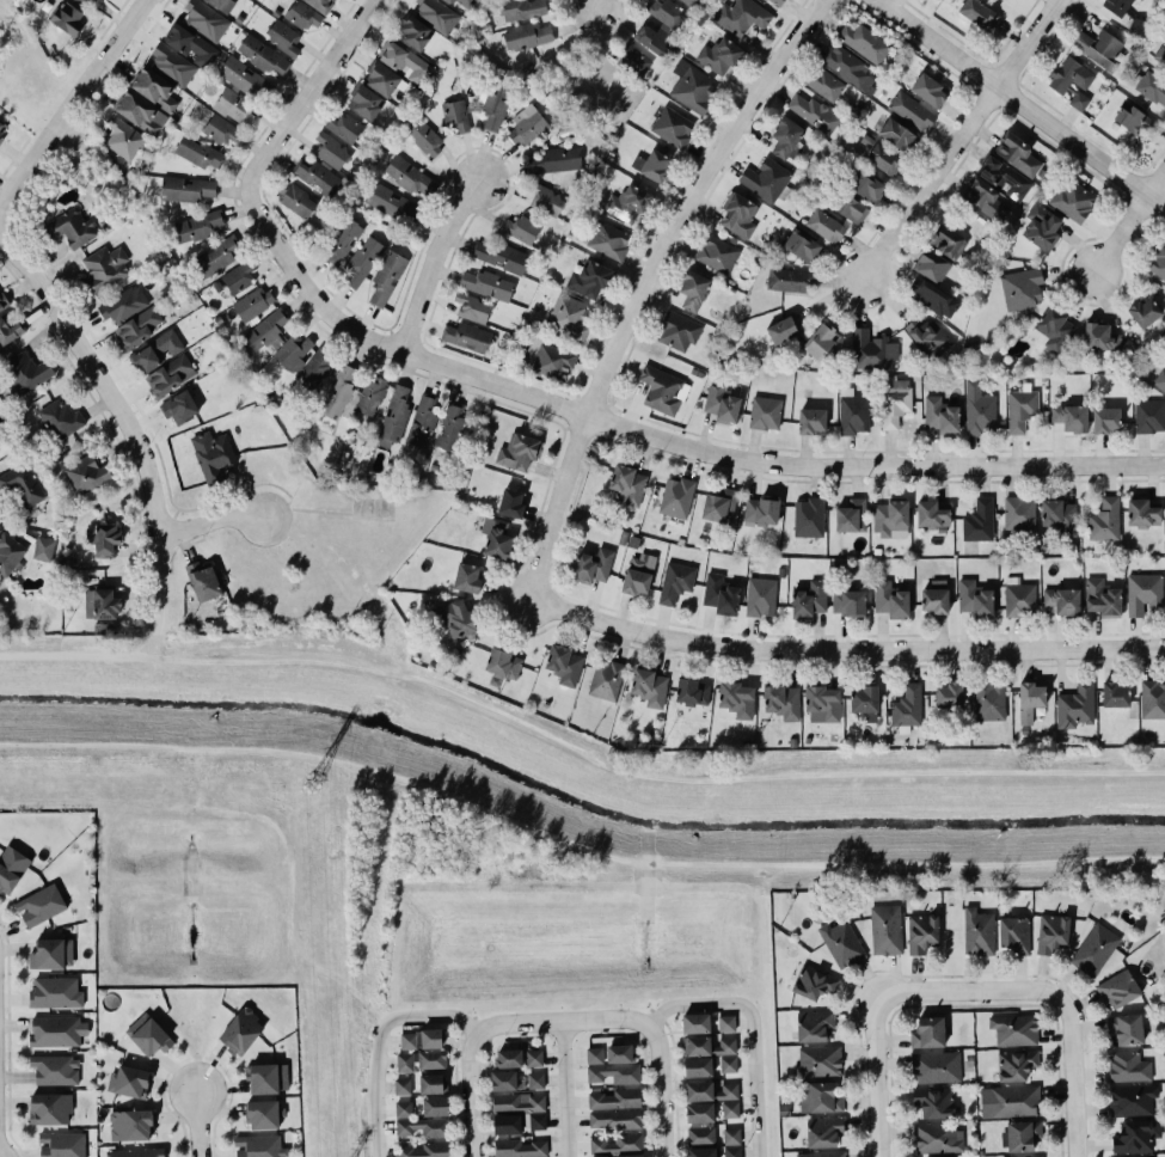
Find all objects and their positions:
building: (80, 1)
road: (596, 1)
building: (685, 1)
building: (778, 1)
building: (464, 2)
building: (221, 5)
building: (320, 5)
building: (1117, 6)
building: (521, 10)
building: (664, 13)
building: (979, 14)
building: (303, 16)
building: (437, 16)
building: (741, 17)
building: (67, 19)
building: (206, 20)
building: (1139, 27)
building: (413, 32)
building: (526, 36)
building: (283, 37)
building: (864, 42)
building: (192, 45)
building: (1099, 48)
building: (263, 56)
building: (719, 56)
building: (1159, 56)
building: (404, 62)
building: (633, 62)
building: (172, 66)
building: (848, 68)
building: (246, 79)
building: (384, 79)
building: (1059, 82)
building: (824, 84)
building: (1152, 87)
building: (155, 88)
building: (691, 91)
building: (930, 91)
road: (315, 92)
road: (69, 102)
building: (366, 103)
building: (496, 103)
road: (1017, 104)
building: (232, 106)
building: (814, 112)
building: (910, 112)
building: (141, 114)
building: (456, 115)
building: (1135, 120)
building: (527, 126)
building: (2, 127)
building: (344, 128)
building: (673, 128)
building: (220, 130)
building: (897, 135)
building: (786, 136)
building: (1, 139)
building: (422, 139)
road: (959, 139)
building: (124, 140)
building: (332, 151)
building: (1017, 153)
building: (200, 154)
building: (881, 157)
building: (556, 161)
building: (656, 166)
building: (407, 176)
building: (1005, 177)
building: (318, 178)
building: (766, 179)
building: (866, 186)
building: (186, 189)
building: (296, 198)
building: (985, 200)
building: (546, 201)
building: (1073, 201)
building: (388, 202)
building: (629, 203)
building: (851, 209)
building: (740, 215)
road: (1128, 222)
building: (195, 227)
building: (824, 227)
building: (1042, 227)
building: (68, 228)
building: (523, 229)
building: (338, 240)
building: (608, 240)
building: (949, 241)
building: (801, 246)
building: (217, 255)
building: (718, 255)
building: (503, 257)
road: (430, 262)
building: (1158, 262)
building: (362, 263)
building: (932, 265)
building: (103, 269)
building: (386, 278)
building: (237, 280)
building: (589, 280)
building: (790, 281)
building: (485, 284)
road: (650, 286)
building: (1022, 288)
building: (694, 290)
building: (933, 298)
building: (2, 301)
building: (122, 302)
building: (253, 302)
building: (472, 308)
building: (1145, 313)
building: (569, 317)
building: (135, 327)
building: (784, 330)
building: (1053, 330)
building: (264, 331)
building: (679, 331)
building: (8, 332)
building: (467, 337)
building: (927, 337)
building: (1100, 339)
building: (821, 341)
building: (871, 349)
building: (289, 350)
building: (158, 351)
building: (553, 361)
building: (25, 373)
building: (168, 375)
building: (1160, 380)
building: (663, 391)
building: (341, 394)
building: (370, 396)
building: (895, 403)
building: (722, 404)
building: (180, 408)
building: (1020, 408)
building: (979, 410)
building: (765, 414)
building: (853, 414)
building: (942, 416)
building: (1149, 416)
building: (393, 417)
building: (61, 418)
building: (1071, 418)
road: (124, 420)
building: (423, 421)
building: (811, 421)
building: (1105, 421)
building: (450, 428)
road: (658, 437)
building: (519, 453)
building: (211, 455)
building: (86, 473)
building: (627, 485)
building: (22, 486)
building: (676, 497)
building: (511, 503)
building: (721, 507)
building: (761, 510)
building: (1018, 514)
building: (1142, 514)
building: (852, 516)
building: (932, 516)
building: (1060, 516)
building: (809, 518)
building: (890, 520)
building: (1105, 520)
building: (979, 521)
road: (209, 522)
building: (498, 538)
building: (104, 539)
building: (44, 549)
building: (10, 553)
building: (593, 565)
building: (636, 577)
building: (467, 578)
building: (203, 582)
building: (675, 582)
building: (1143, 593)
building: (719, 594)
building: (761, 598)
building: (936, 598)
building: (810, 599)
building: (974, 599)
building: (1018, 599)
building: (1102, 599)
building: (891, 600)
building: (1063, 601)
building: (103, 602)
building: (848, 602)
building: (454, 620)
road: (844, 647)
road: (164, 659)
building: (503, 665)
building: (565, 666)
building: (606, 681)
building: (649, 687)
building: (692, 692)
building: (949, 696)
building: (1116, 696)
building: (1152, 699)
building: (736, 700)
building: (988, 700)
building: (1030, 700)
building: (783, 703)
building: (865, 703)
building: (822, 704)
building: (907, 706)
building: (1075, 706)
road: (288, 739)
power tower: (318, 785)
building: (11, 869)
building: (39, 906)
building: (885, 930)
building: (920, 931)
building: (979, 932)
building: (1013, 932)
building: (1051, 933)
building: (844, 948)
building: (1095, 950)
building: (53, 954)
building: (814, 984)
building: (1116, 987)
building: (54, 991)
road: (969, 993)
building: (695, 1024)
building: (726, 1024)
building: (813, 1024)
building: (1124, 1027)
road: (752, 1028)
building: (56, 1029)
building: (1014, 1030)
building: (241, 1031)
building: (928, 1033)
building: (151, 1039)
building: (421, 1040)
road: (375, 1041)
building: (728, 1046)
road: (654, 1047)
building: (698, 1047)
road: (470, 1052)
building: (619, 1054)
building: (594, 1055)
building: (507, 1057)
building: (419, 1060)
building: (818, 1063)
building: (728, 1065)
building: (1016, 1065)
building: (934, 1066)
building: (1127, 1066)
building: (698, 1067)
building: (55, 1070)
building: (614, 1073)
road: (873, 1077)
building: (283, 1078)
building: (264, 1079)
building: (535, 1081)
road: (1072, 1081)
building: (131, 1082)
building: (505, 1082)
building: (430, 1084)
building: (403, 1086)
road: (563, 1089)
building: (707, 1089)
building: (817, 1096)
building: (613, 1098)
building: (1012, 1100)
building: (1130, 1100)
building: (519, 1102)
building: (934, 1102)
building: (49, 1107)
building: (435, 1107)
building: (730, 1109)
building: (699, 1113)
building: (264, 1115)
building: (614, 1119)
building: (538, 1122)
road: (196, 1124)
building: (418, 1124)
building: (507, 1125)
building: (130, 1126)
building: (822, 1131)
building: (700, 1135)
building: (1020, 1135)
building: (731, 1137)
building: (1136, 1137)
building: (936, 1138)
building: (61, 1144)
building: (618, 1144)
building: (259, 1145)
building: (520, 1149)
building: (427, 1150)
building: (732, 1151)
building: (135, 1152)
building: (701, 1152)
building: (821, 1153)
building: (603, 1156)
building: (630, 1156)
building: (1041, 1156)

